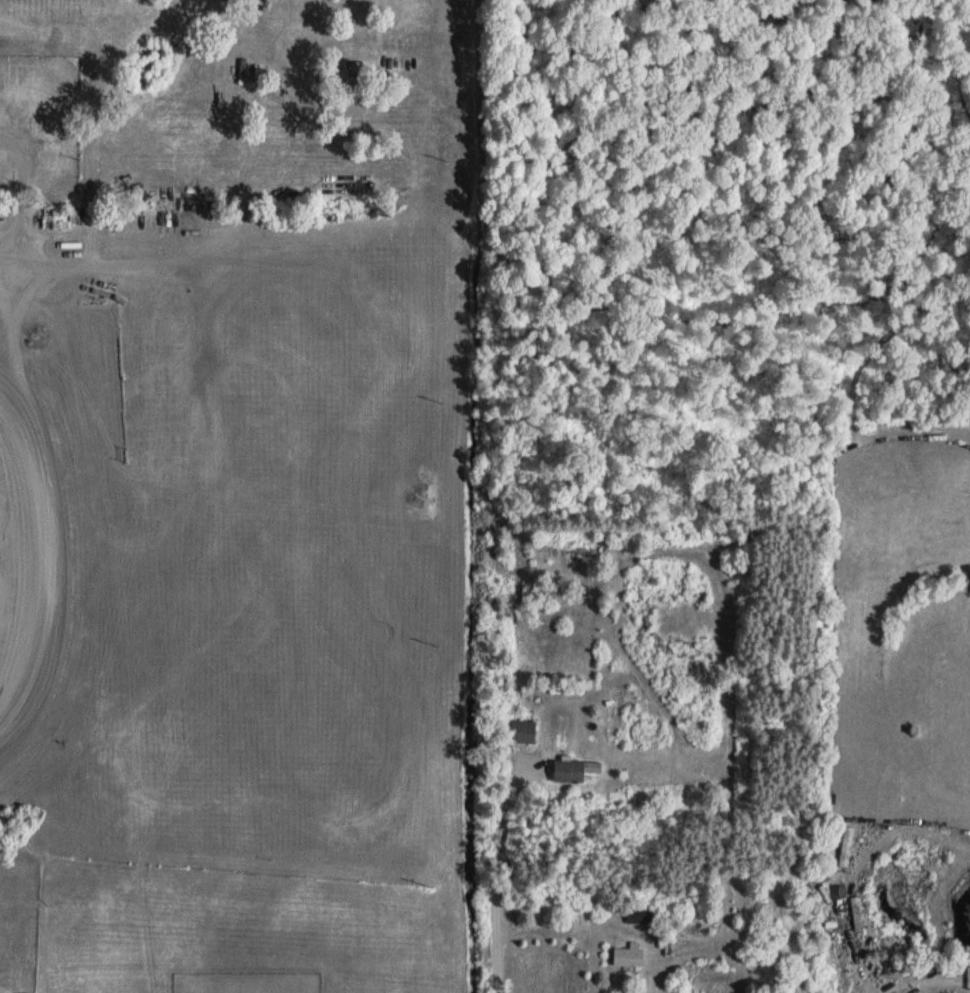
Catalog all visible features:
raceway: (44, 561)
building: (523, 731)
building: (568, 770)
road: (495, 882)
building: (639, 915)
building: (629, 954)

